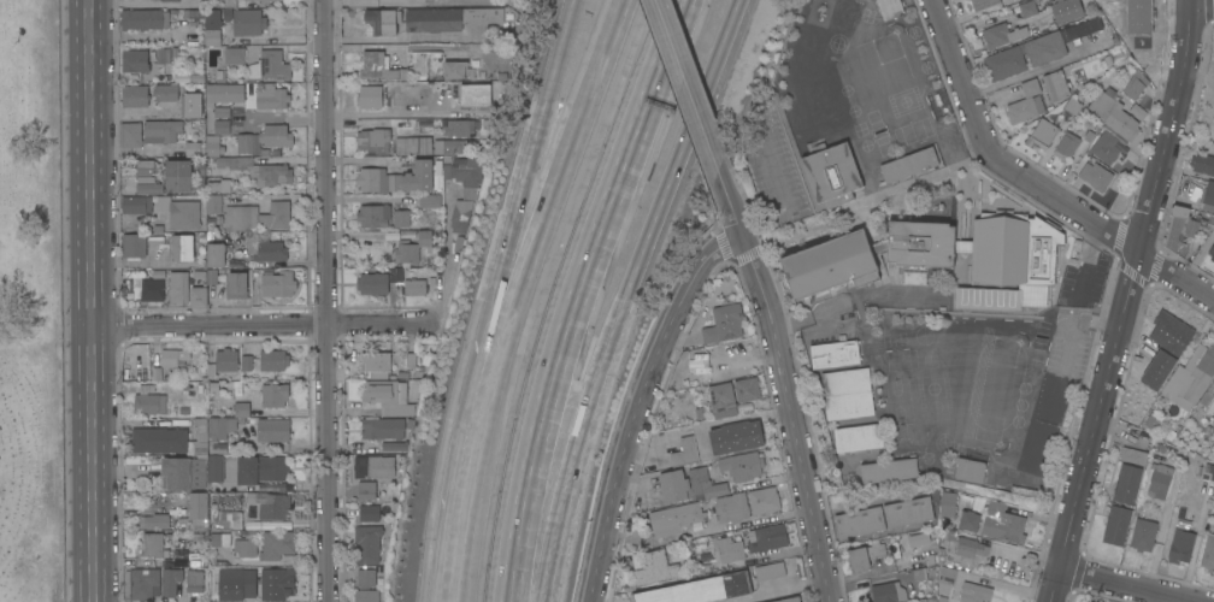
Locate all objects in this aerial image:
building: (171, 0)
building: (263, 0)
building: (265, 1)
building: (235, 2)
building: (984, 4)
building: (836, 6)
building: (890, 8)
building: (1029, 8)
building: (1067, 10)
building: (145, 18)
building: (213, 18)
building: (449, 18)
building: (1132, 19)
building: (487, 20)
building: (248, 22)
building: (382, 22)
building: (1083, 28)
building: (1002, 34)
building: (213, 36)
road: (403, 36)
building: (806, 45)
building: (1045, 47)
building: (1213, 54)
building: (235, 55)
building: (135, 60)
building: (1003, 63)
building: (270, 66)
building: (378, 66)
road: (1038, 69)
building: (458, 70)
road: (962, 76)
building: (1056, 84)
building: (1136, 84)
road: (689, 87)
building: (166, 93)
building: (813, 93)
building: (224, 94)
building: (406, 94)
building: (476, 94)
building: (271, 95)
building: (135, 96)
building: (370, 96)
building: (1025, 102)
building: (191, 105)
building: (1073, 106)
road: (131, 111)
road: (401, 113)
building: (821, 113)
building: (1114, 114)
building: (222, 126)
building: (461, 128)
building: (161, 130)
building: (131, 134)
building: (276, 135)
building: (1042, 135)
building: (373, 140)
building: (244, 143)
building: (213, 146)
building: (414, 146)
building: (449, 146)
building: (1066, 146)
building: (1106, 147)
building: (193, 149)
road: (361, 158)
road: (530, 161)
building: (908, 164)
building: (1202, 164)
building: (146, 167)
building: (259, 170)
building: (462, 170)
building: (832, 173)
building: (1096, 175)
building: (178, 176)
building: (396, 178)
building: (148, 185)
building: (219, 185)
road: (780, 193)
building: (1207, 196)
building: (430, 200)
building: (213, 202)
building: (137, 205)
building: (464, 208)
building: (181, 212)
building: (1213, 213)
building: (276, 216)
building: (375, 216)
building: (241, 217)
building: (401, 218)
road: (1102, 224)
building: (1180, 229)
building: (426, 238)
building: (173, 244)
building: (949, 244)
building: (134, 246)
building: (265, 248)
building: (407, 252)
building: (1210, 252)
building: (216, 254)
road: (446, 258)
road: (1086, 260)
building: (831, 264)
building: (1054, 270)
building: (395, 275)
building: (914, 277)
building: (373, 283)
building: (237, 284)
building: (278, 284)
building: (178, 287)
building: (414, 287)
building: (153, 290)
road: (521, 293)
building: (199, 296)
road: (579, 296)
road: (619, 297)
road: (92, 300)
road: (328, 300)
road: (1128, 301)
road: (844, 302)
building: (989, 302)
park: (31, 305)
building: (1027, 306)
road: (1078, 321)
building: (724, 324)
road: (261, 325)
building: (1162, 347)
building: (835, 353)
building: (173, 358)
building: (226, 360)
building: (273, 360)
building: (714, 361)
building: (243, 362)
building: (377, 364)
building: (1190, 377)
road: (786, 384)
building: (747, 389)
building: (275, 394)
building: (848, 394)
building: (1212, 394)
building: (389, 396)
building: (1051, 397)
building: (723, 400)
building: (151, 401)
road: (640, 403)
building: (236, 411)
building: (1151, 420)
building: (222, 426)
building: (383, 427)
building: (273, 430)
building: (735, 437)
building: (859, 437)
building: (170, 438)
building: (1213, 443)
building: (395, 445)
building: (1037, 445)
building: (217, 448)
building: (683, 450)
building: (1132, 456)
road: (455, 458)
building: (743, 465)
building: (375, 466)
building: (214, 467)
building: (260, 468)
building: (970, 470)
building: (889, 471)
building: (183, 473)
building: (1204, 474)
building: (1159, 478)
building: (674, 484)
building: (1126, 484)
building: (367, 490)
building: (764, 500)
building: (269, 503)
building: (947, 504)
building: (732, 507)
building: (195, 512)
building: (367, 512)
building: (908, 512)
building: (676, 518)
building: (224, 519)
building: (970, 520)
building: (154, 521)
building: (860, 521)
building: (1003, 523)
building: (1115, 525)
building: (1142, 535)
building: (767, 537)
building: (917, 538)
building: (220, 539)
building: (367, 543)
building: (153, 544)
building: (277, 544)
building: (962, 544)
building: (1179, 545)
building: (244, 547)
building: (729, 549)
building: (1208, 553)
building: (865, 556)
building: (655, 568)
building: (770, 571)
building: (366, 578)
building: (947, 579)
building: (195, 582)
building: (145, 583)
building: (170, 583)
building: (252, 584)
road: (1128, 585)
building: (699, 589)
road: (772, 590)
building: (888, 591)
building: (974, 592)
building: (367, 596)
road: (449, 598)
building: (790, 600)
building: (1091, 601)

